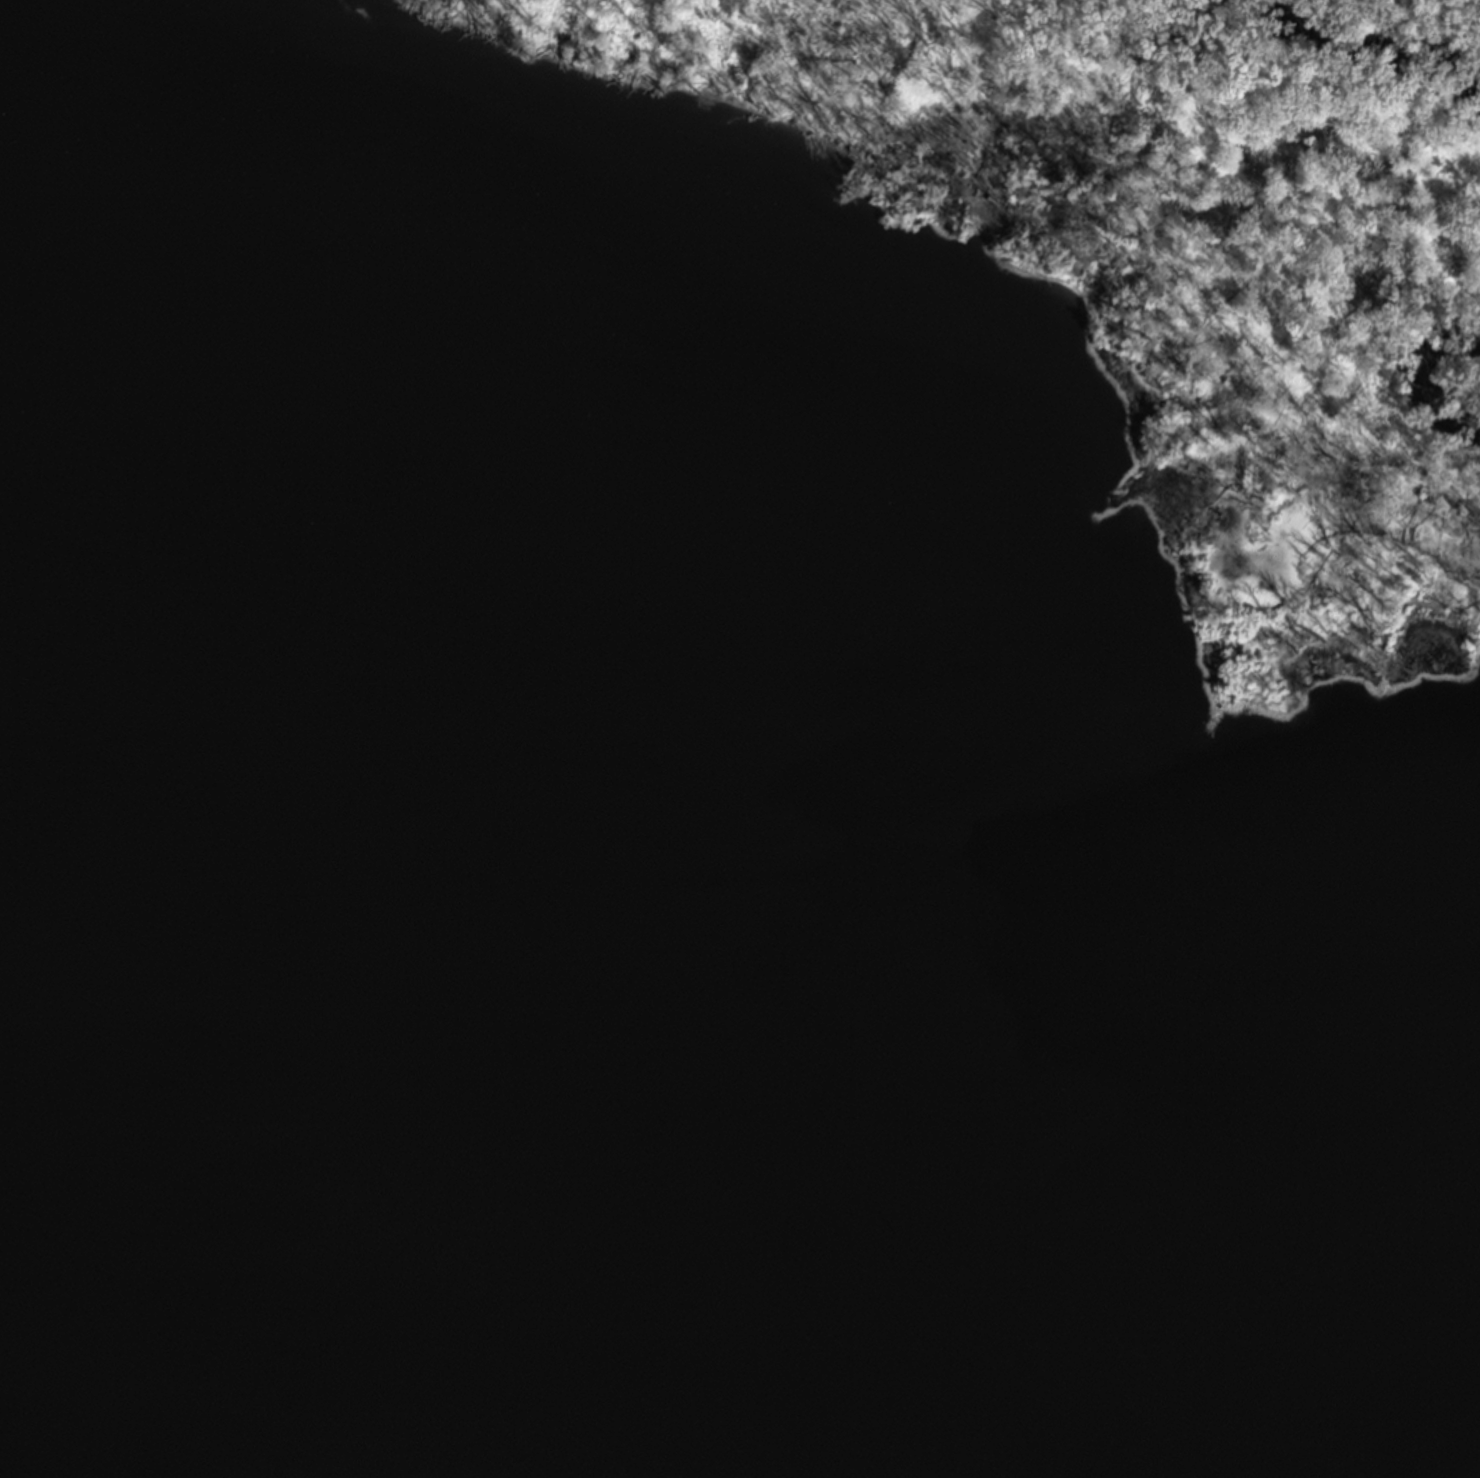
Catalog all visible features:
river: (1378, 57)
river: (1458, 368)
river: (950, 787)

